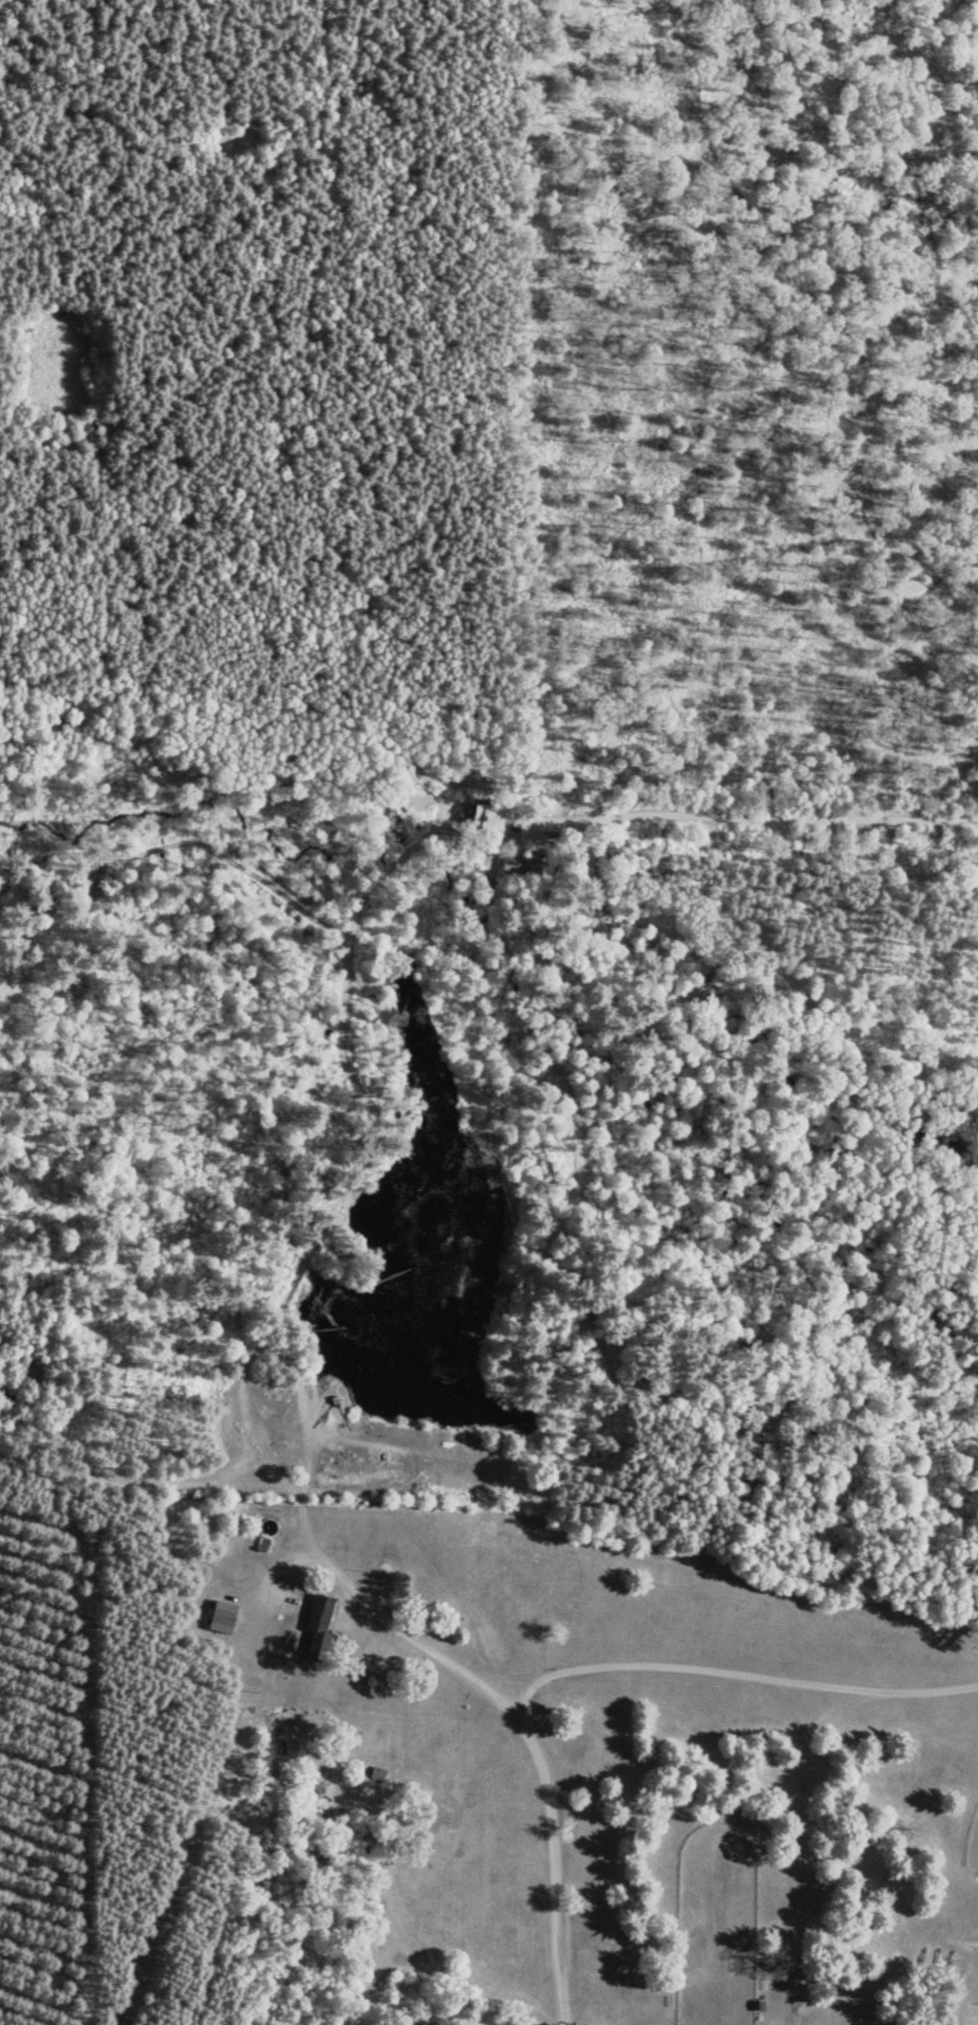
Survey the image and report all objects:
building: (486, 812)
road: (744, 812)
building: (512, 864)
building: (539, 867)
road: (286, 892)
road: (345, 1057)
road: (243, 1382)
building: (384, 1570)
building: (220, 1614)
building: (319, 1626)
road: (737, 1670)
road: (496, 1671)
road: (509, 1703)
road: (828, 1711)
park: (584, 1827)
park: (972, 1839)
road: (799, 1842)

